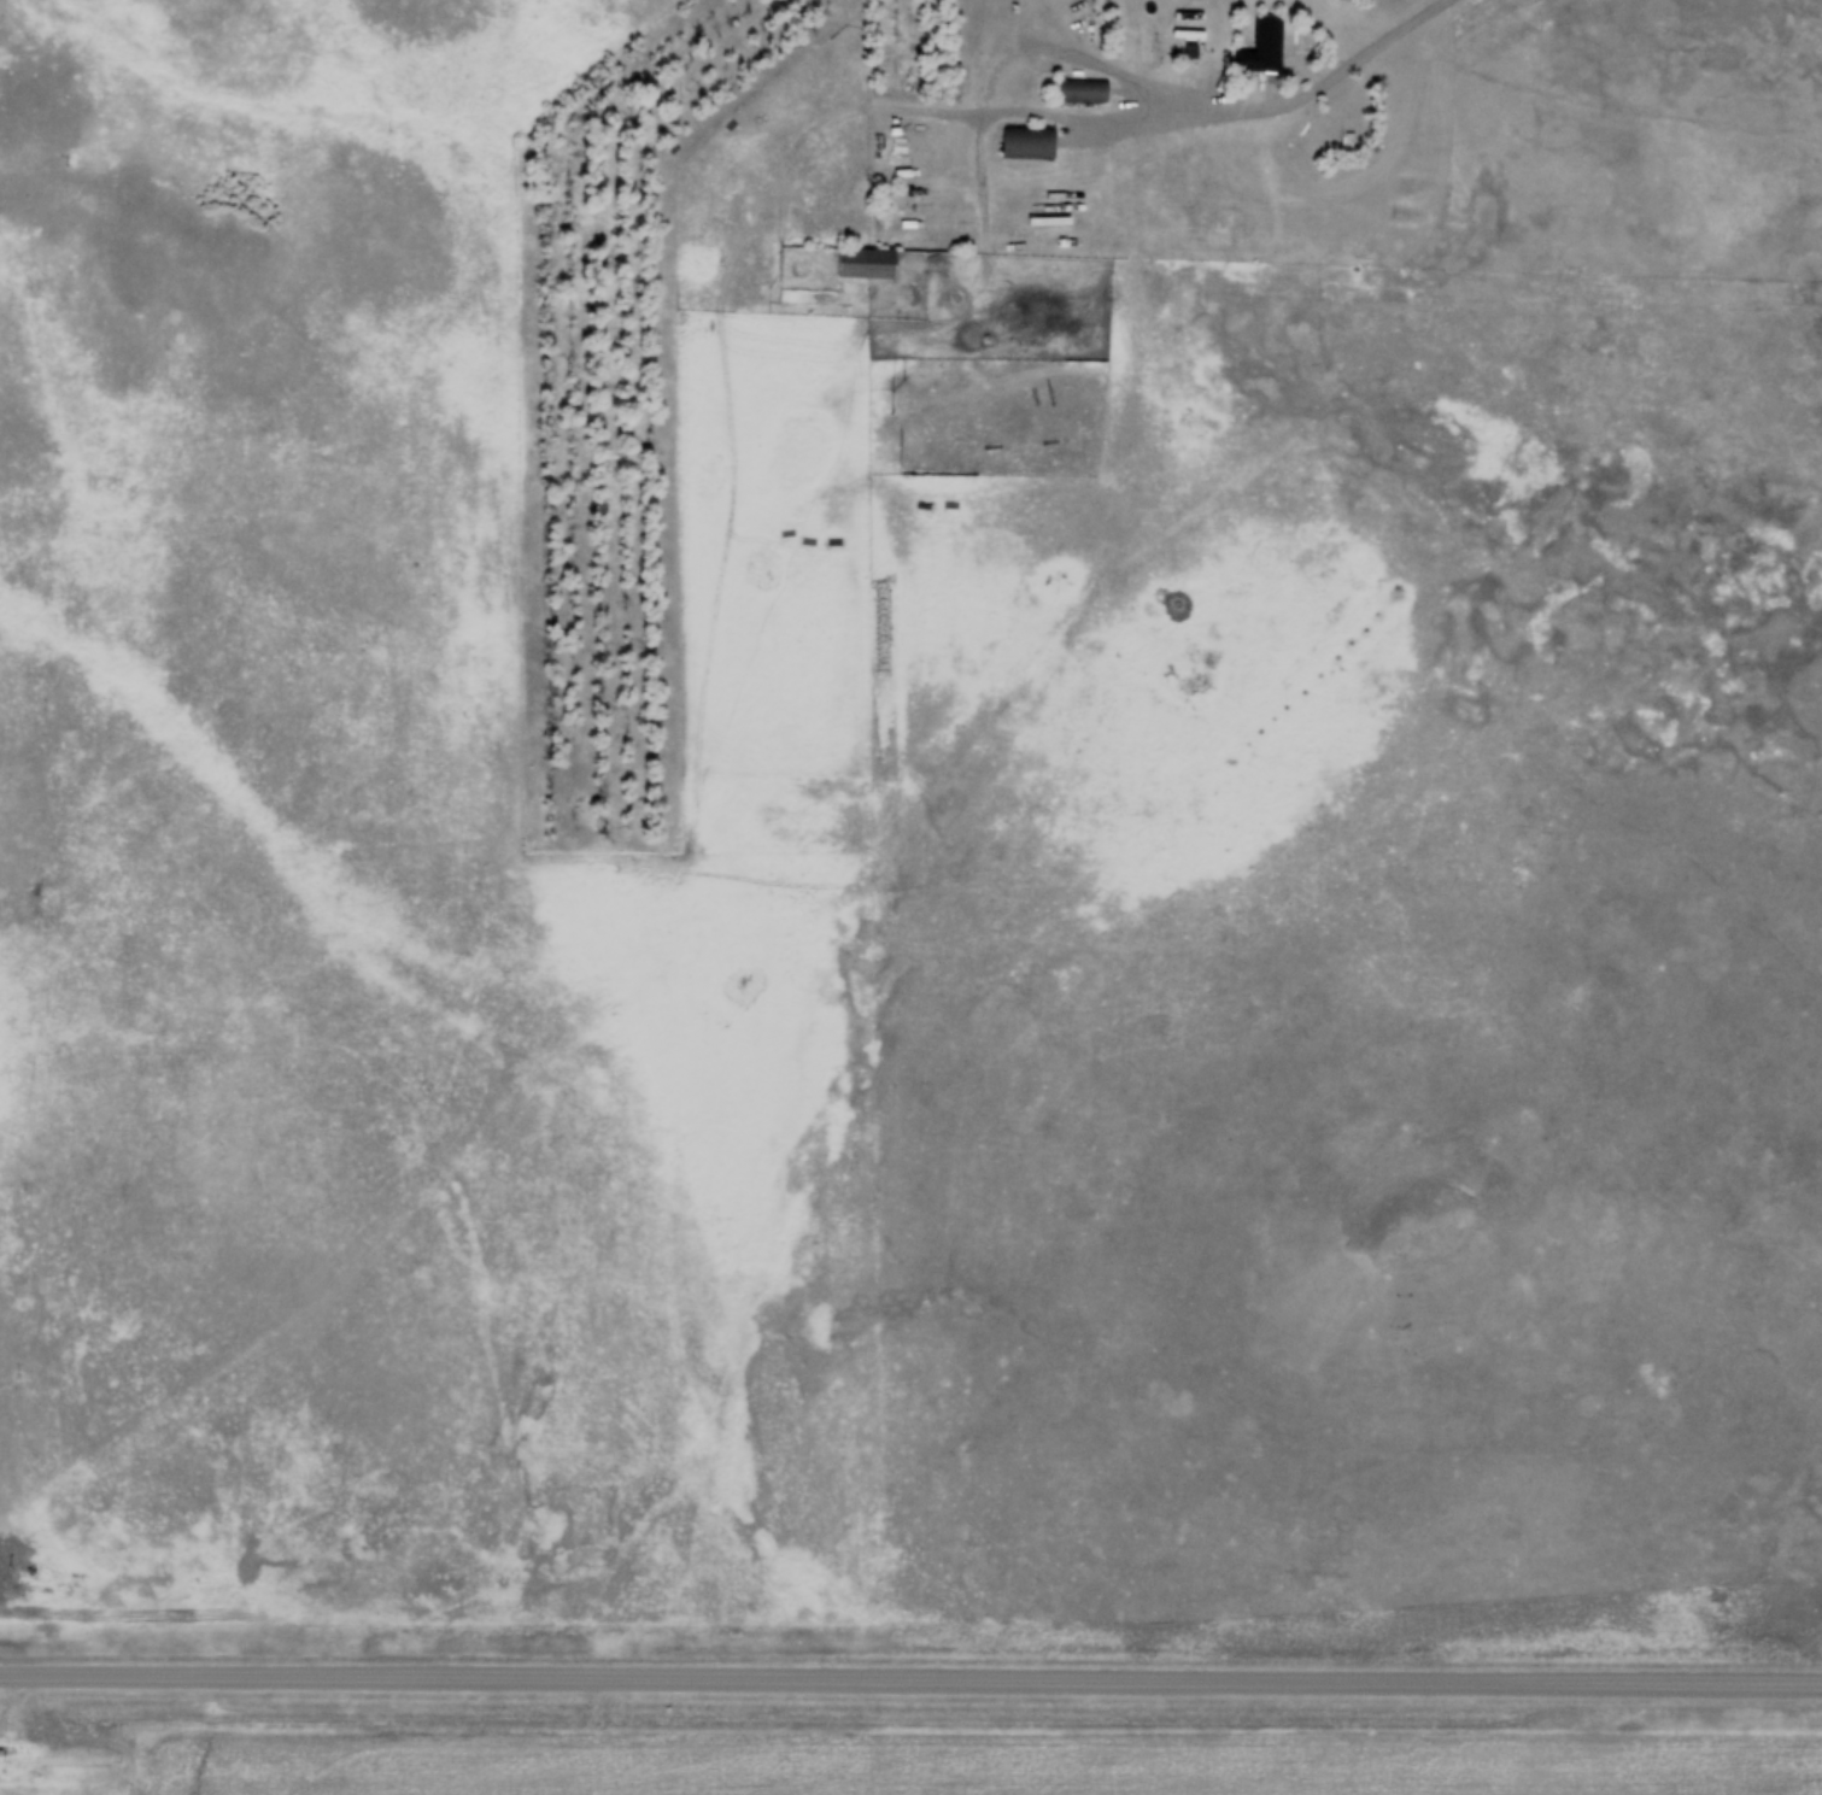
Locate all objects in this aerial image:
building: (1261, 57)
building: (1083, 93)
building: (1029, 143)
building: (867, 266)
building: (989, 559)
road: (910, 1679)

